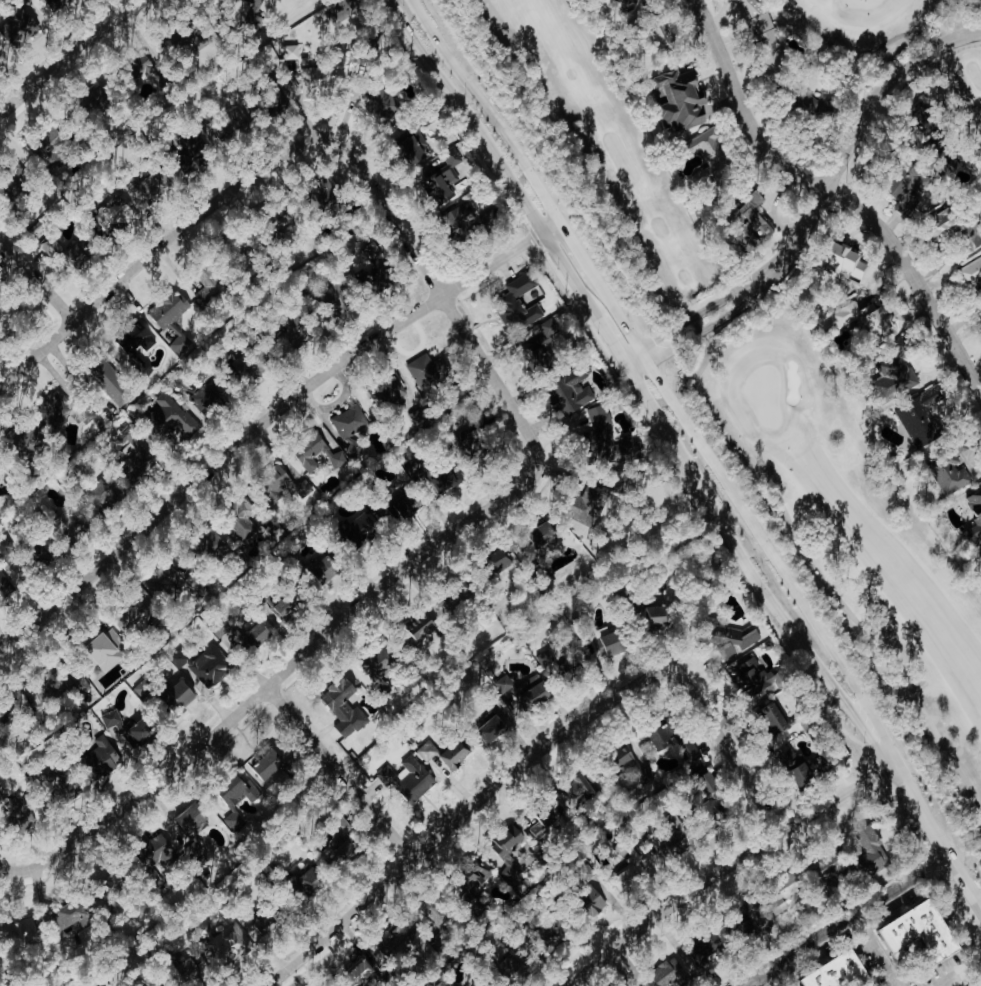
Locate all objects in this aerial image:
building: (254, 2)
building: (627, 2)
building: (738, 3)
building: (57, 4)
building: (19, 29)
park: (866, 29)
building: (665, 34)
building: (763, 37)
road: (69, 54)
building: (143, 64)
building: (163, 78)
building: (317, 80)
building: (683, 100)
park: (964, 101)
building: (382, 102)
building: (232, 125)
building: (408, 141)
building: (50, 143)
building: (194, 147)
building: (710, 156)
building: (152, 183)
building: (440, 183)
building: (19, 184)
building: (909, 189)
road: (832, 191)
road: (823, 208)
building: (116, 214)
building: (753, 222)
building: (957, 228)
building: (53, 247)
road: (156, 248)
building: (81, 253)
building: (848, 261)
building: (376, 264)
building: (971, 272)
road: (37, 278)
building: (209, 285)
building: (522, 285)
road: (443, 294)
building: (528, 313)
building: (172, 318)
building: (864, 319)
building: (298, 327)
building: (133, 338)
building: (544, 346)
building: (243, 361)
building: (428, 371)
building: (895, 374)
building: (112, 383)
park: (748, 387)
building: (569, 392)
building: (388, 393)
building: (208, 394)
building: (61, 410)
building: (418, 417)
building: (921, 417)
building: (171, 418)
road: (264, 421)
building: (349, 422)
building: (474, 439)
building: (353, 448)
building: (308, 453)
road: (697, 453)
building: (138, 462)
building: (2, 472)
building: (436, 474)
building: (948, 475)
building: (303, 489)
building: (106, 493)
building: (594, 502)
building: (410, 504)
building: (976, 511)
building: (241, 519)
building: (69, 527)
building: (363, 530)
building: (541, 541)
building: (7, 549)
building: (503, 560)
building: (328, 569)
building: (162, 580)
building: (4, 584)
building: (195, 587)
building: (453, 599)
building: (290, 604)
building: (137, 613)
building: (660, 615)
building: (425, 626)
building: (259, 634)
building: (742, 640)
building: (616, 642)
building: (109, 649)
building: (380, 662)
building: (206, 665)
road: (286, 671)
building: (759, 679)
building: (145, 690)
building: (529, 692)
building: (180, 696)
building: (14, 704)
building: (344, 706)
building: (774, 718)
building: (492, 727)
building: (132, 728)
building: (673, 737)
road: (728, 750)
building: (427, 752)
building: (456, 755)
building: (627, 757)
building: (102, 758)
building: (270, 764)
building: (819, 765)
road: (340, 773)
building: (646, 775)
building: (409, 779)
building: (69, 783)
building: (709, 784)
building: (579, 788)
building: (0, 793)
building: (236, 799)
building: (14, 812)
road: (461, 817)
building: (548, 819)
building: (671, 841)
building: (508, 849)
building: (161, 851)
building: (873, 853)
building: (337, 856)
building: (841, 867)
road: (726, 868)
building: (632, 869)
road: (12, 870)
building: (309, 879)
building: (477, 879)
building: (114, 883)
building: (786, 890)
building: (75, 916)
building: (443, 917)
road: (848, 922)
building: (265, 926)
building: (18, 931)
building: (558, 931)
building: (924, 932)
building: (228, 943)
building: (708, 949)
road: (877, 952)
road: (972, 967)
building: (365, 971)
building: (841, 972)
building: (670, 976)
road: (953, 979)

